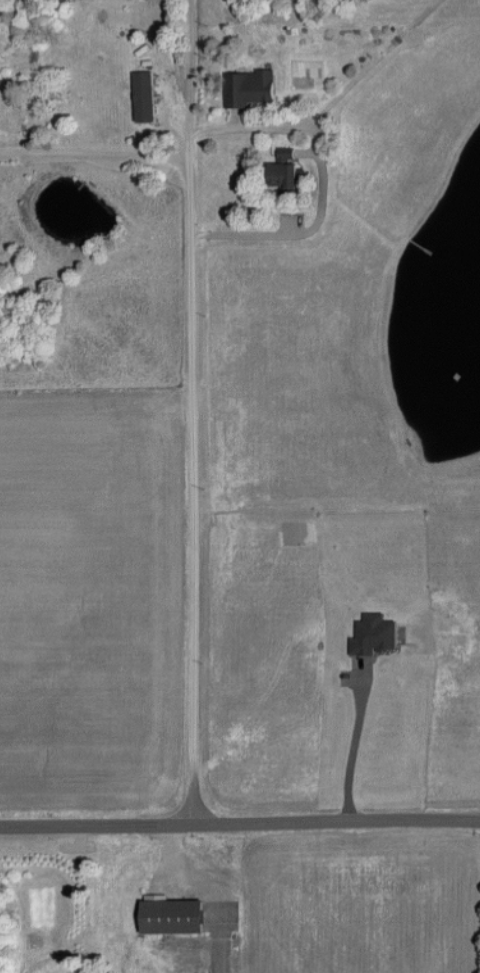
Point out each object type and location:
road: (182, 71)
building: (143, 86)
building: (251, 88)
road: (232, 130)
road: (94, 152)
building: (285, 169)
road: (296, 227)
road: (190, 494)
road: (356, 741)
road: (240, 822)
building: (175, 916)

